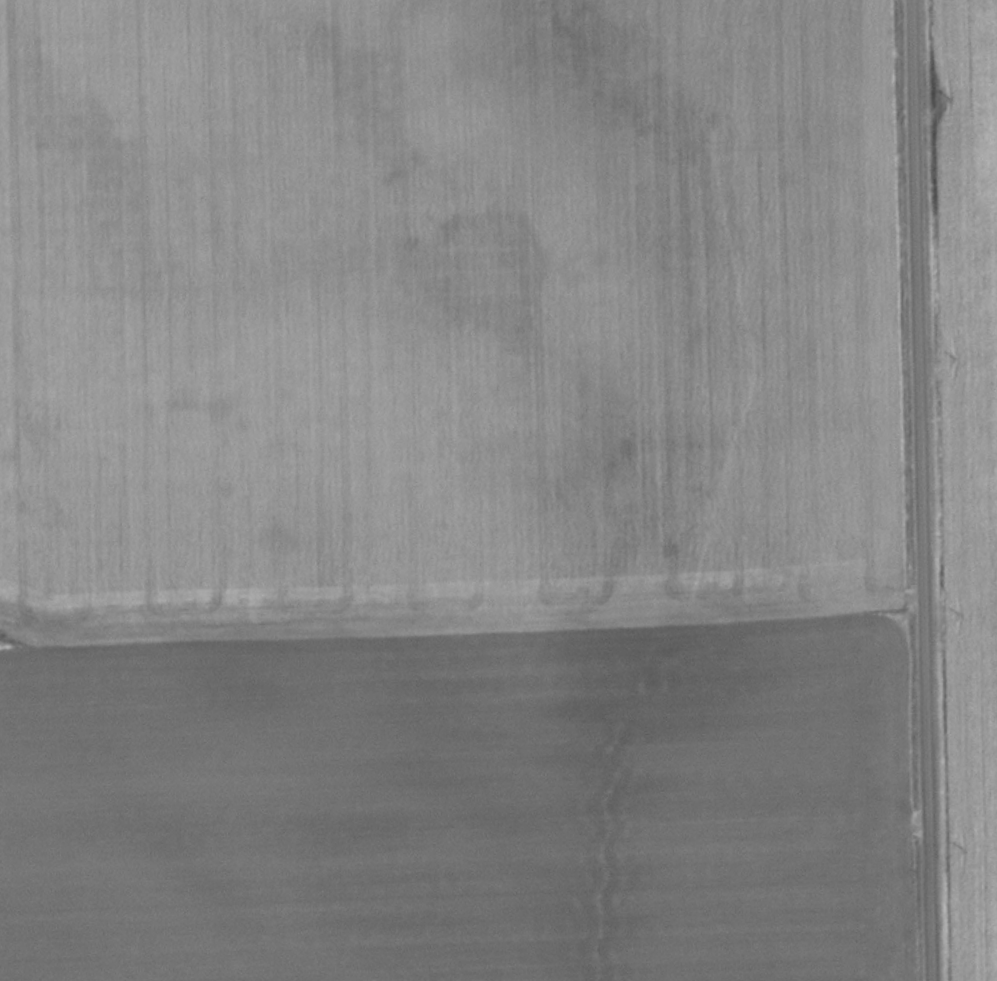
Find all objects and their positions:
road: (917, 490)

